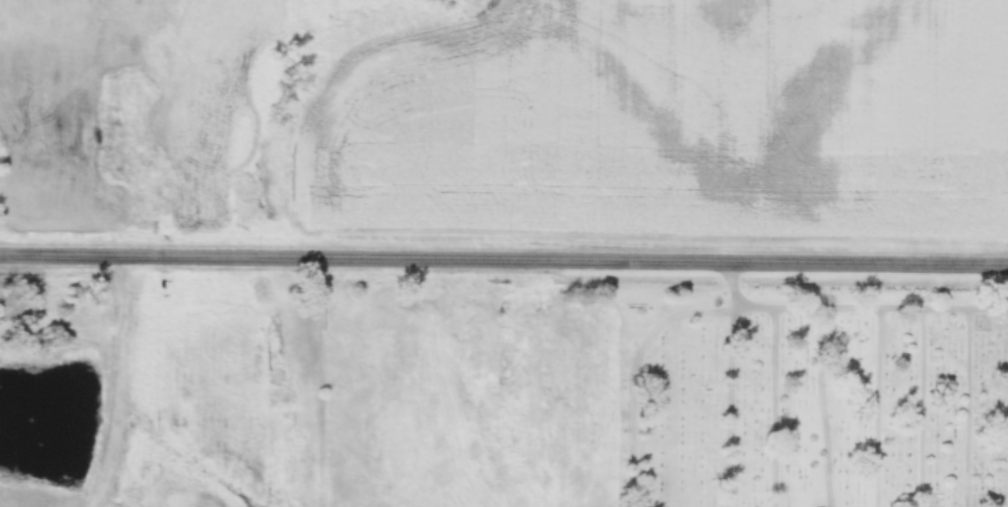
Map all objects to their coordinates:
road: (503, 263)
road: (871, 304)
road: (733, 385)
road: (119, 386)
park: (809, 397)

